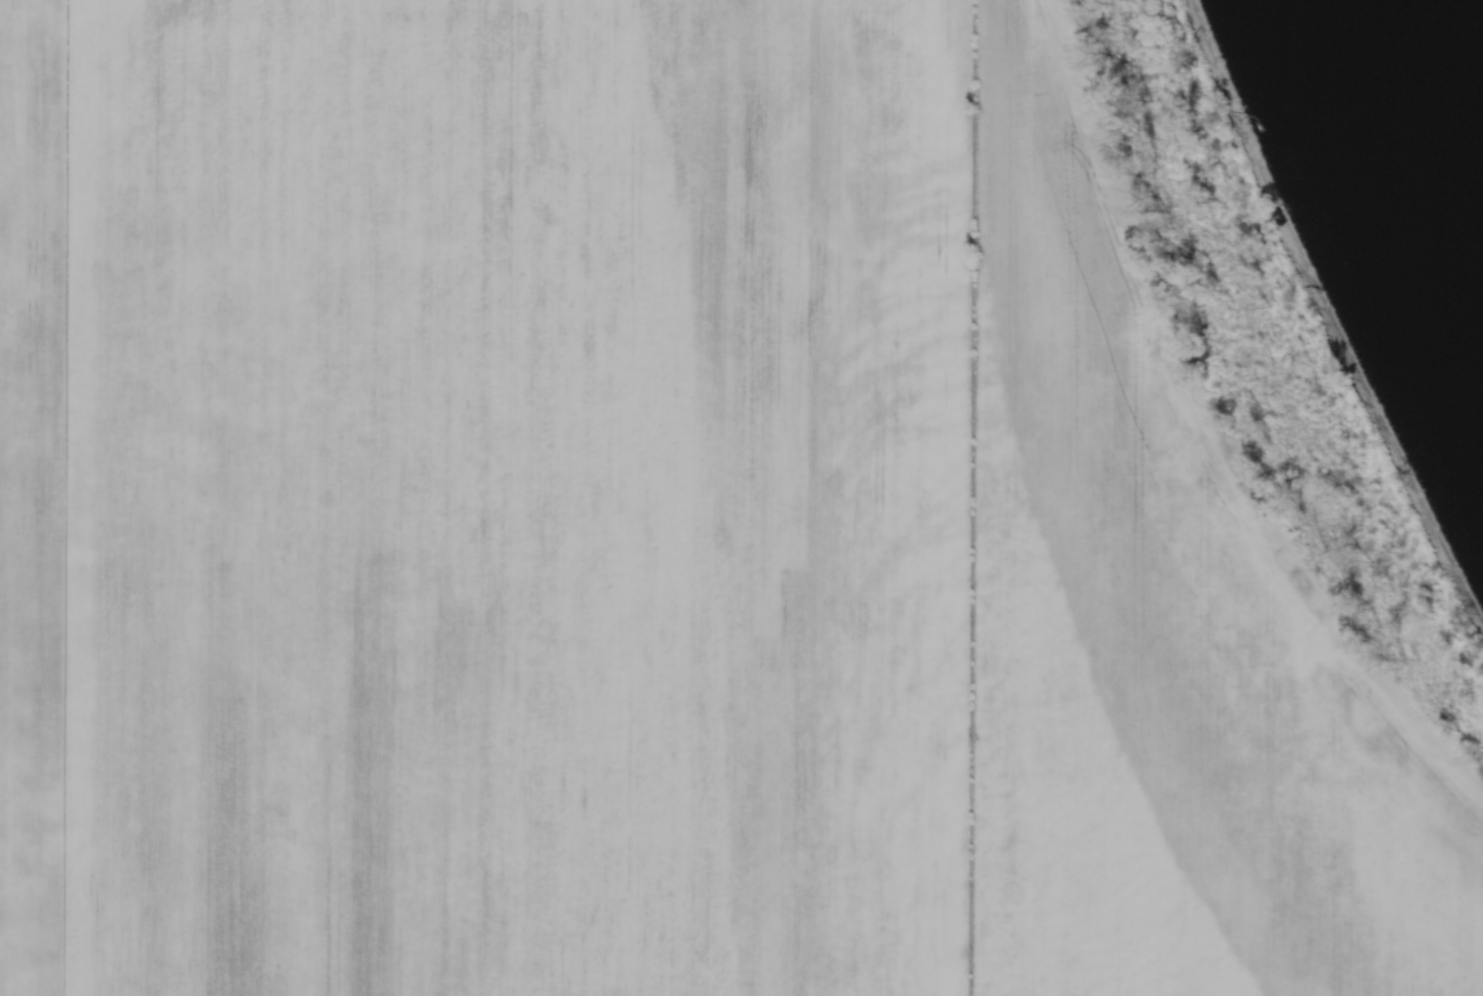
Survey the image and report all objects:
river: (1432, 100)

